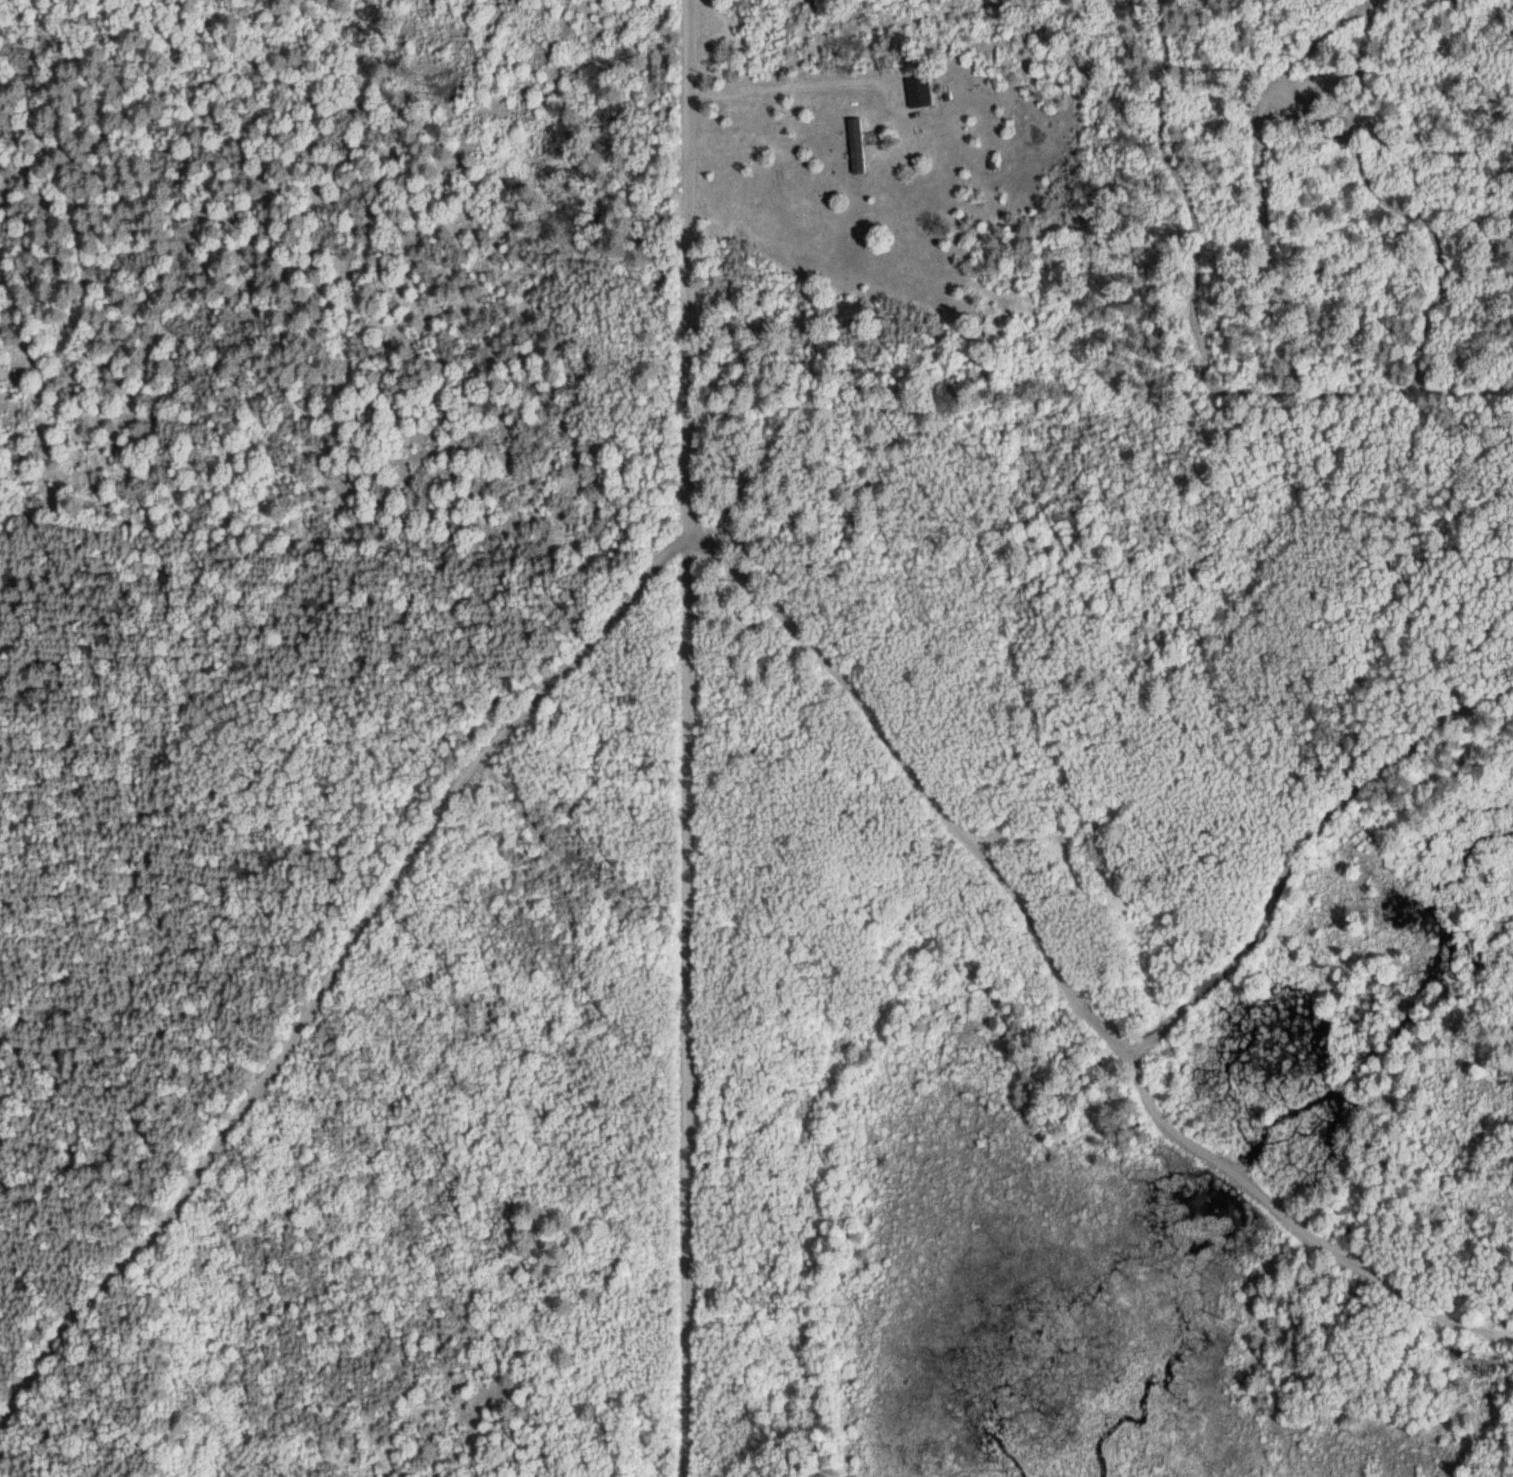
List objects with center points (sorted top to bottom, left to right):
road: (772, 86)
building: (916, 90)
building: (854, 144)
road: (688, 274)
road: (706, 554)
road: (1279, 842)
road: (692, 1012)

